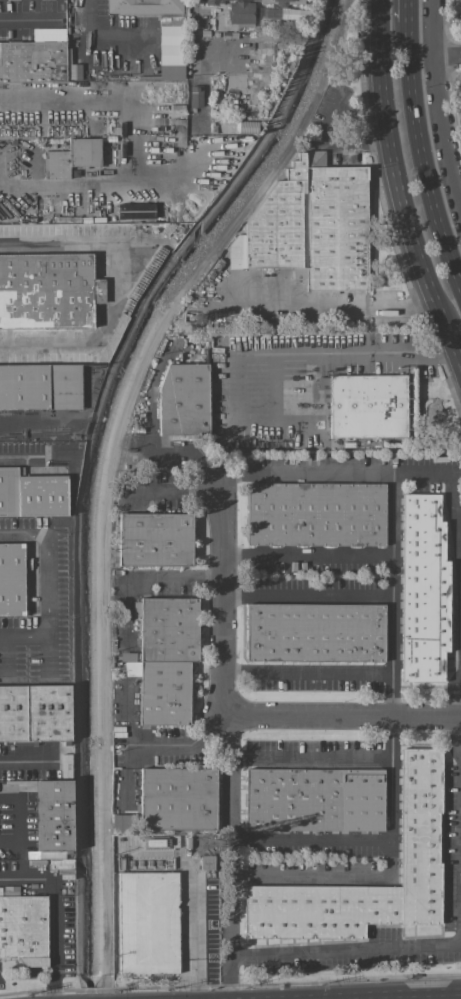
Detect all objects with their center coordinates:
building: (282, 1)
building: (211, 2)
building: (460, 4)
building: (146, 6)
road: (194, 8)
road: (408, 10)
building: (219, 18)
road: (28, 19)
building: (245, 20)
building: (460, 24)
road: (91, 39)
building: (170, 52)
building: (262, 57)
building: (35, 58)
road: (447, 58)
building: (195, 96)
building: (232, 102)
road: (437, 104)
building: (247, 127)
road: (130, 144)
road: (422, 152)
building: (72, 157)
road: (397, 174)
building: (135, 211)
building: (313, 224)
road: (114, 286)
building: (48, 290)
road: (332, 306)
road: (457, 349)
road: (300, 354)
road: (413, 354)
building: (40, 387)
road: (274, 393)
building: (184, 400)
building: (368, 406)
road: (153, 423)
road: (235, 430)
road: (338, 470)
road: (177, 490)
building: (32, 494)
building: (317, 514)
road: (454, 516)
building: (155, 539)
road: (306, 556)
road: (141, 578)
building: (11, 579)
road: (49, 587)
building: (423, 590)
road: (392, 592)
road: (306, 593)
road: (220, 599)
building: (315, 631)
building: (164, 658)
road: (306, 670)
road: (455, 695)
building: (34, 712)
road: (340, 716)
road: (455, 737)
road: (151, 745)
road: (310, 757)
road: (128, 775)
building: (179, 799)
building: (314, 799)
building: (53, 815)
road: (16, 818)
building: (121, 823)
building: (419, 837)
road: (310, 841)
road: (230, 856)
road: (391, 877)
road: (57, 912)
building: (148, 922)
building: (24, 929)
road: (346, 950)
road: (388, 996)

